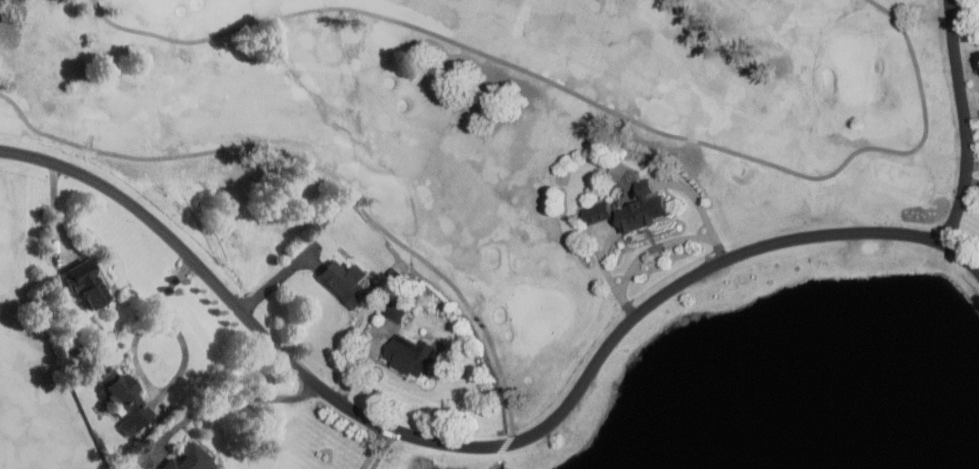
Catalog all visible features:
park: (156, 4)
park: (853, 60)
road: (584, 93)
road: (961, 121)
park: (459, 148)
road: (321, 166)
building: (641, 206)
building: (595, 211)
road: (56, 212)
road: (653, 246)
road: (279, 276)
building: (84, 281)
building: (345, 281)
park: (535, 309)
building: (400, 311)
building: (413, 353)
road: (142, 372)
building: (125, 399)
road: (221, 400)
road: (484, 443)
road: (372, 447)
road: (381, 448)
building: (188, 457)

